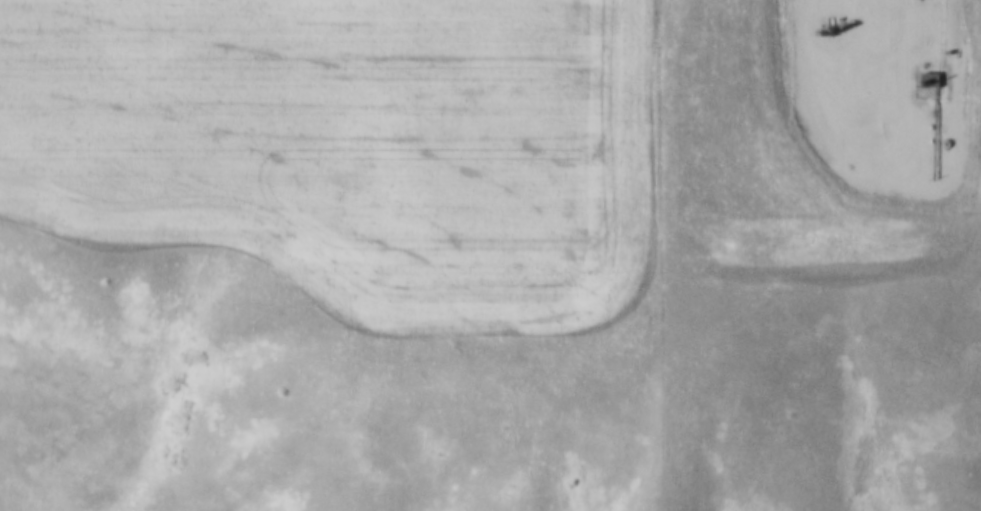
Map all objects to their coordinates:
petroleum well: (828, 21)
road: (848, 55)

